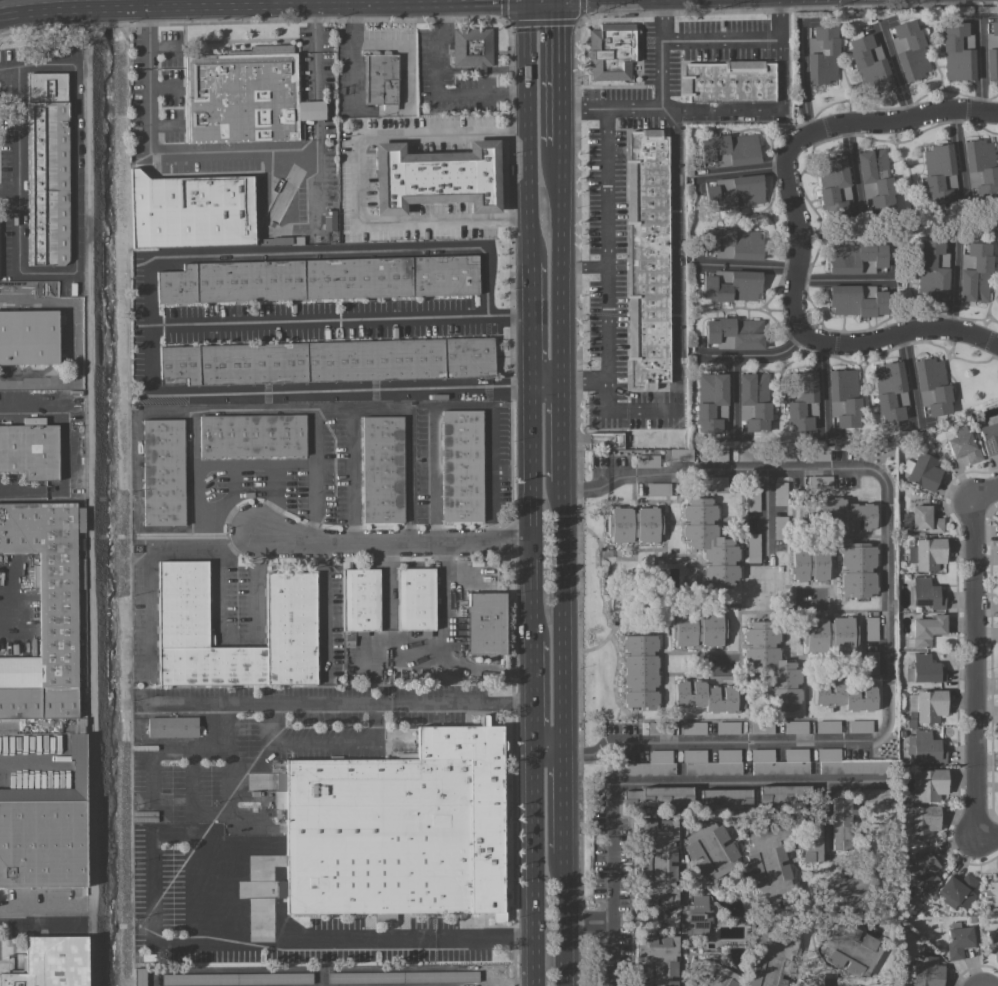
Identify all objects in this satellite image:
road: (437, 1)
road: (247, 3)
road: (72, 5)
road: (201, 7)
road: (661, 10)
road: (778, 14)
traffic signals: (561, 27)
building: (994, 28)
road: (724, 40)
building: (473, 47)
building: (611, 51)
building: (910, 51)
building: (958, 52)
building: (822, 55)
building: (869, 63)
road: (981, 64)
building: (991, 64)
road: (895, 71)
road: (561, 74)
building: (381, 79)
road: (804, 80)
building: (728, 82)
road: (439, 92)
building: (242, 98)
road: (661, 101)
road: (574, 108)
road: (753, 108)
road: (891, 123)
road: (530, 130)
road: (15, 134)
building: (730, 147)
road: (959, 149)
road: (232, 155)
building: (720, 160)
road: (855, 165)
building: (982, 166)
building: (48, 170)
road: (740, 172)
building: (939, 174)
building: (437, 177)
building: (875, 177)
road: (357, 178)
building: (734, 192)
road: (74, 206)
building: (191, 211)
building: (329, 220)
building: (733, 242)
road: (799, 242)
road: (349, 251)
building: (723, 251)
building: (647, 256)
building: (854, 256)
road: (676, 258)
road: (562, 266)
road: (585, 266)
road: (750, 268)
building: (932, 270)
building: (974, 273)
building: (319, 279)
building: (731, 285)
road: (148, 291)
road: (951, 291)
road: (607, 293)
building: (856, 300)
road: (509, 315)
road: (283, 321)
road: (531, 322)
building: (734, 333)
road: (897, 335)
building: (28, 336)
road: (753, 360)
building: (329, 361)
building: (932, 386)
road: (379, 389)
building: (890, 391)
building: (843, 397)
building: (711, 401)
building: (755, 402)
road: (463, 406)
road: (379, 409)
building: (745, 411)
road: (563, 423)
building: (253, 435)
building: (989, 437)
building: (605, 440)
building: (964, 447)
road: (65, 449)
building: (30, 451)
building: (716, 454)
building: (749, 454)
building: (783, 454)
building: (817, 454)
building: (681, 455)
building: (646, 461)
road: (218, 464)
road: (270, 464)
building: (462, 465)
building: (383, 469)
building: (922, 471)
building: (164, 472)
road: (563, 474)
road: (197, 479)
building: (714, 482)
building: (658, 489)
road: (985, 490)
building: (780, 493)
building: (752, 499)
road: (276, 500)
building: (839, 512)
road: (767, 515)
road: (532, 519)
building: (921, 520)
building: (633, 524)
road: (394, 542)
building: (710, 542)
road: (193, 547)
building: (753, 547)
building: (929, 554)
building: (808, 564)
building: (858, 570)
road: (254, 583)
road: (218, 585)
road: (325, 589)
building: (927, 593)
road: (387, 596)
building: (361, 599)
building: (416, 599)
road: (888, 602)
building: (183, 610)
building: (44, 613)
road: (565, 619)
building: (486, 623)
building: (697, 628)
building: (870, 628)
building: (926, 630)
building: (828, 634)
building: (768, 653)
building: (871, 663)
road: (974, 666)
building: (926, 669)
building: (640, 671)
building: (704, 696)
building: (847, 697)
building: (784, 698)
road: (340, 702)
road: (534, 703)
building: (927, 705)
building: (30, 725)
building: (172, 726)
building: (795, 726)
building: (827, 726)
building: (693, 727)
building: (727, 727)
building: (761, 727)
building: (659, 728)
road: (322, 741)
road: (226, 745)
building: (926, 748)
road: (164, 749)
road: (549, 753)
building: (779, 761)
building: (712, 762)
building: (847, 763)
building: (646, 765)
road: (697, 782)
road: (191, 783)
building: (930, 784)
road: (565, 793)
building: (783, 794)
building: (875, 795)
building: (657, 796)
building: (724, 798)
building: (919, 822)
building: (839, 825)
building: (399, 828)
road: (987, 833)
building: (811, 840)
building: (43, 843)
building: (710, 850)
building: (657, 863)
building: (769, 866)
building: (925, 869)
road: (535, 870)
building: (280, 875)
building: (848, 885)
building: (958, 891)
road: (152, 892)
building: (991, 892)
road: (616, 899)
road: (566, 909)
road: (36, 912)
building: (696, 916)
road: (591, 927)
road: (349, 938)
building: (958, 941)
building: (991, 943)
road: (617, 945)
building: (850, 949)
building: (656, 960)
building: (52, 962)
building: (755, 969)
building: (926, 971)
road: (616, 975)
building: (140, 976)
building: (718, 976)
building: (404, 977)
building: (237, 978)
building: (812, 981)

